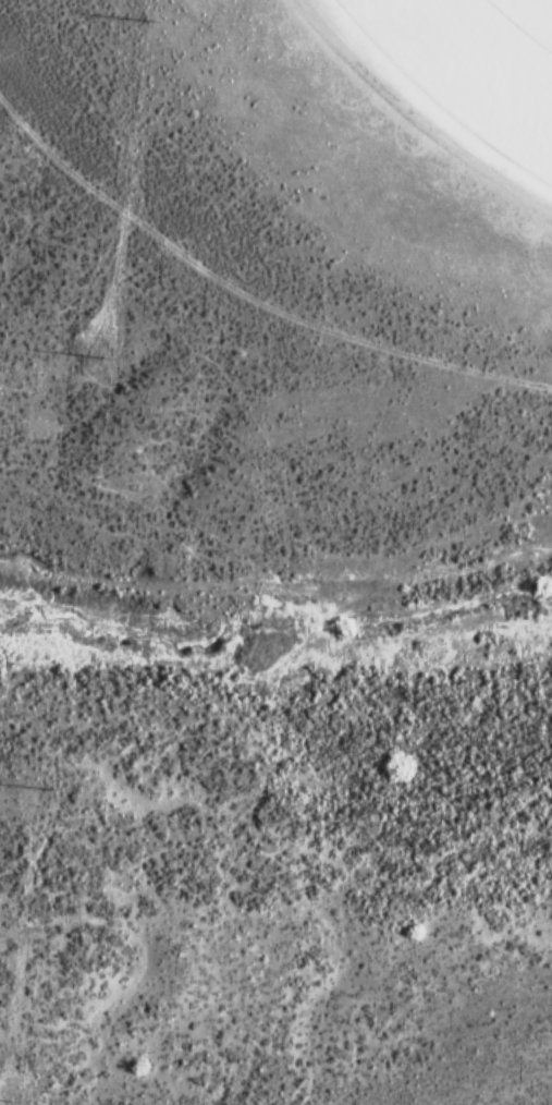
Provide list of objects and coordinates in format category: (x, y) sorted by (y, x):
crop: (444, 88)

